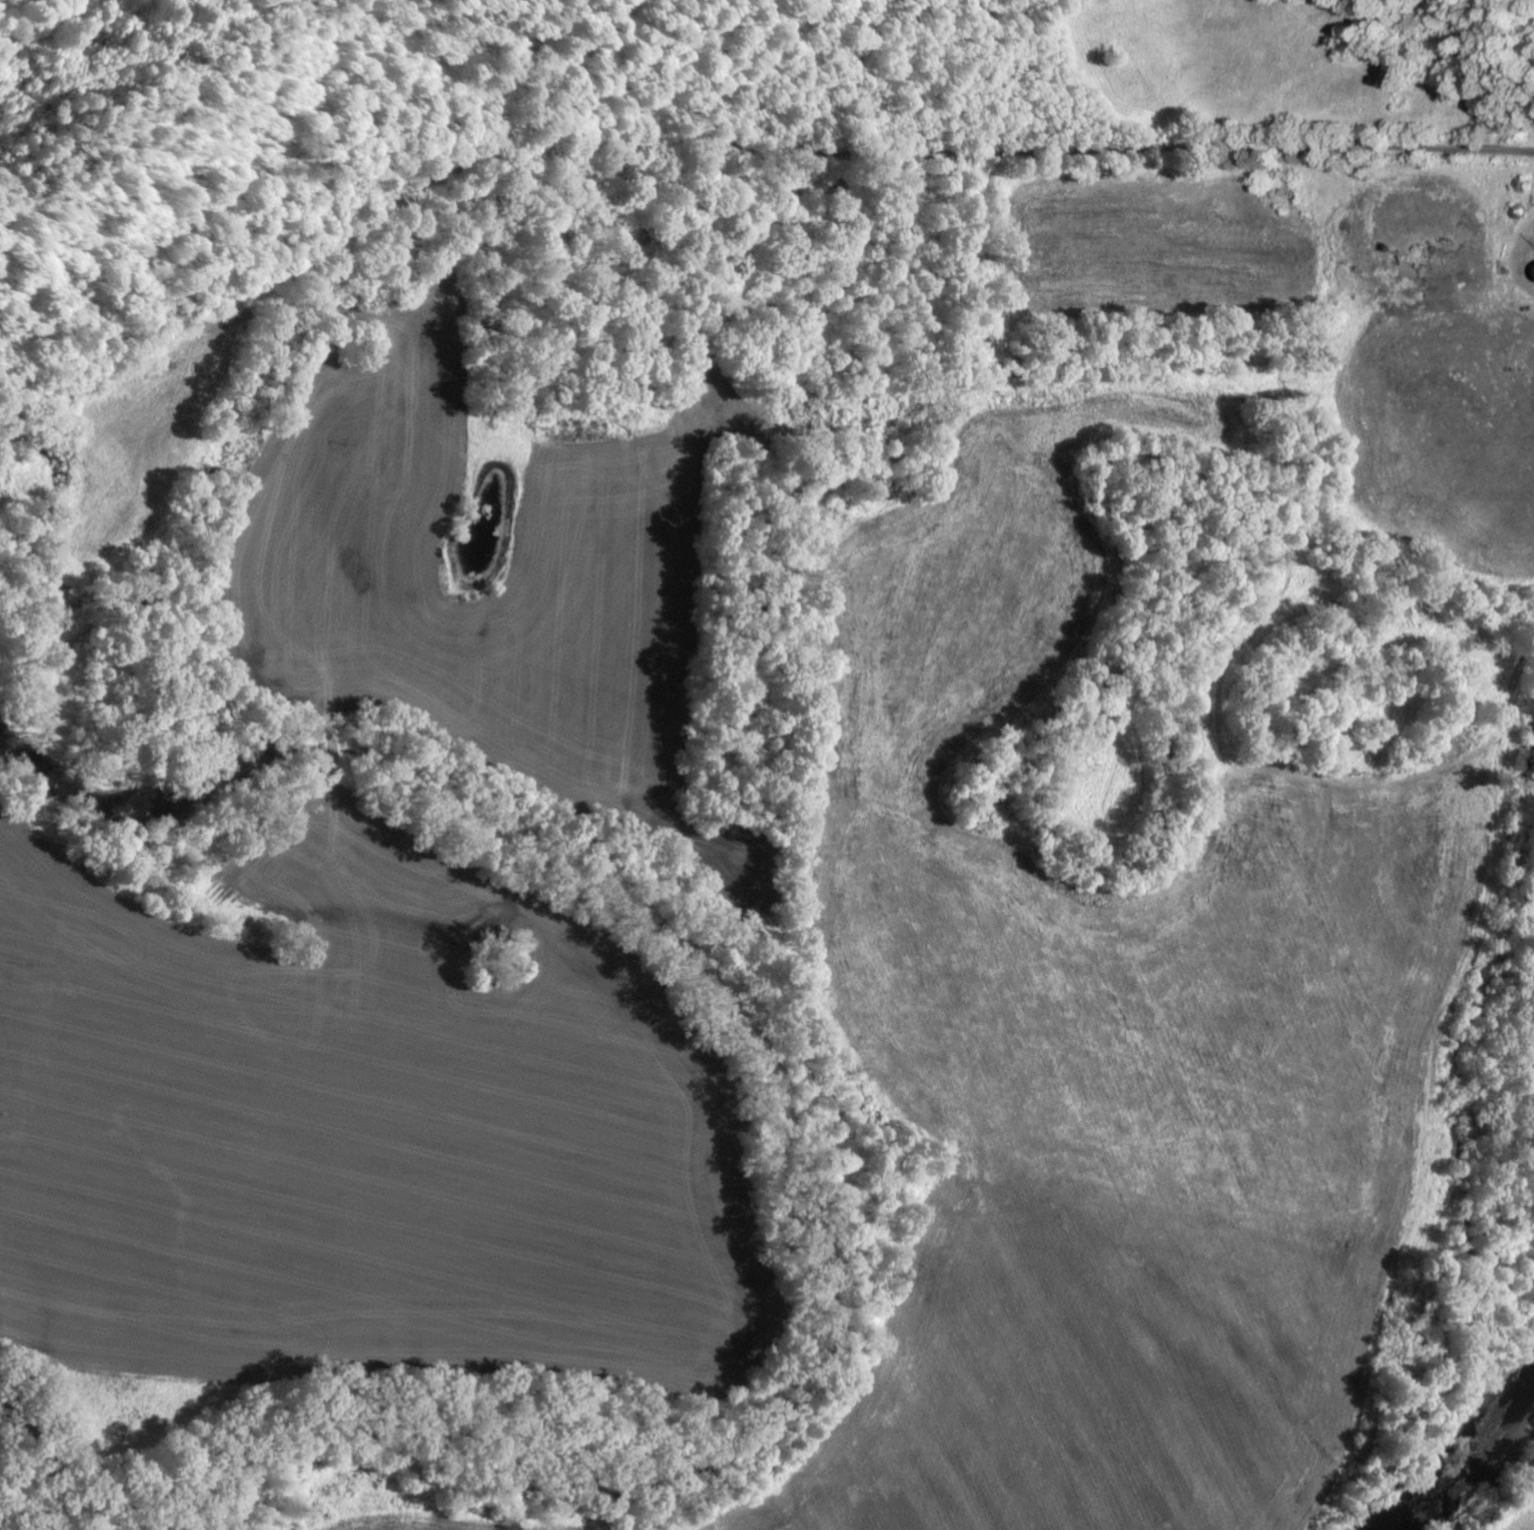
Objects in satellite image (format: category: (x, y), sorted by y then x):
road: (735, 152)

